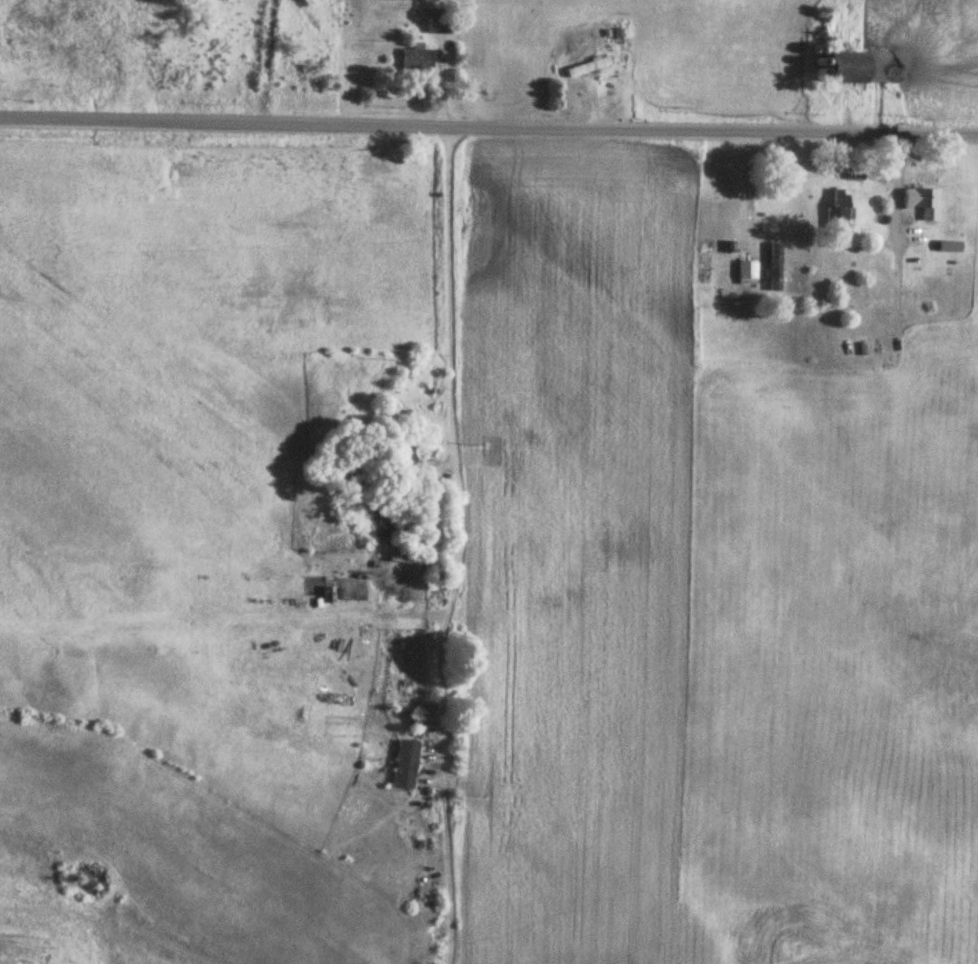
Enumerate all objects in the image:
building: (442, 28)
building: (423, 60)
road: (787, 61)
building: (587, 67)
building: (844, 67)
road: (489, 132)
building: (854, 174)
building: (921, 202)
building: (837, 214)
building: (747, 273)
road: (873, 335)
building: (402, 457)
road: (421, 543)
building: (403, 558)
road: (257, 633)
building: (405, 765)

